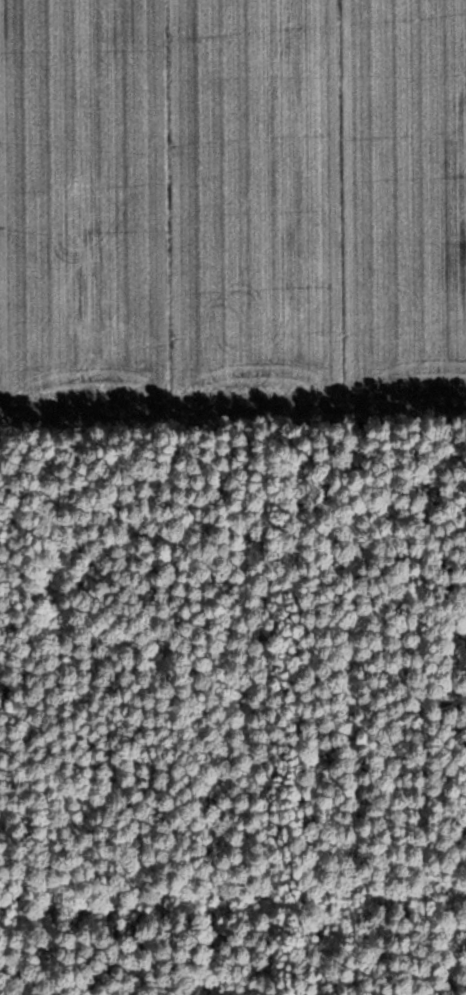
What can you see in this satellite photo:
crop: (231, 202)
road: (233, 408)

